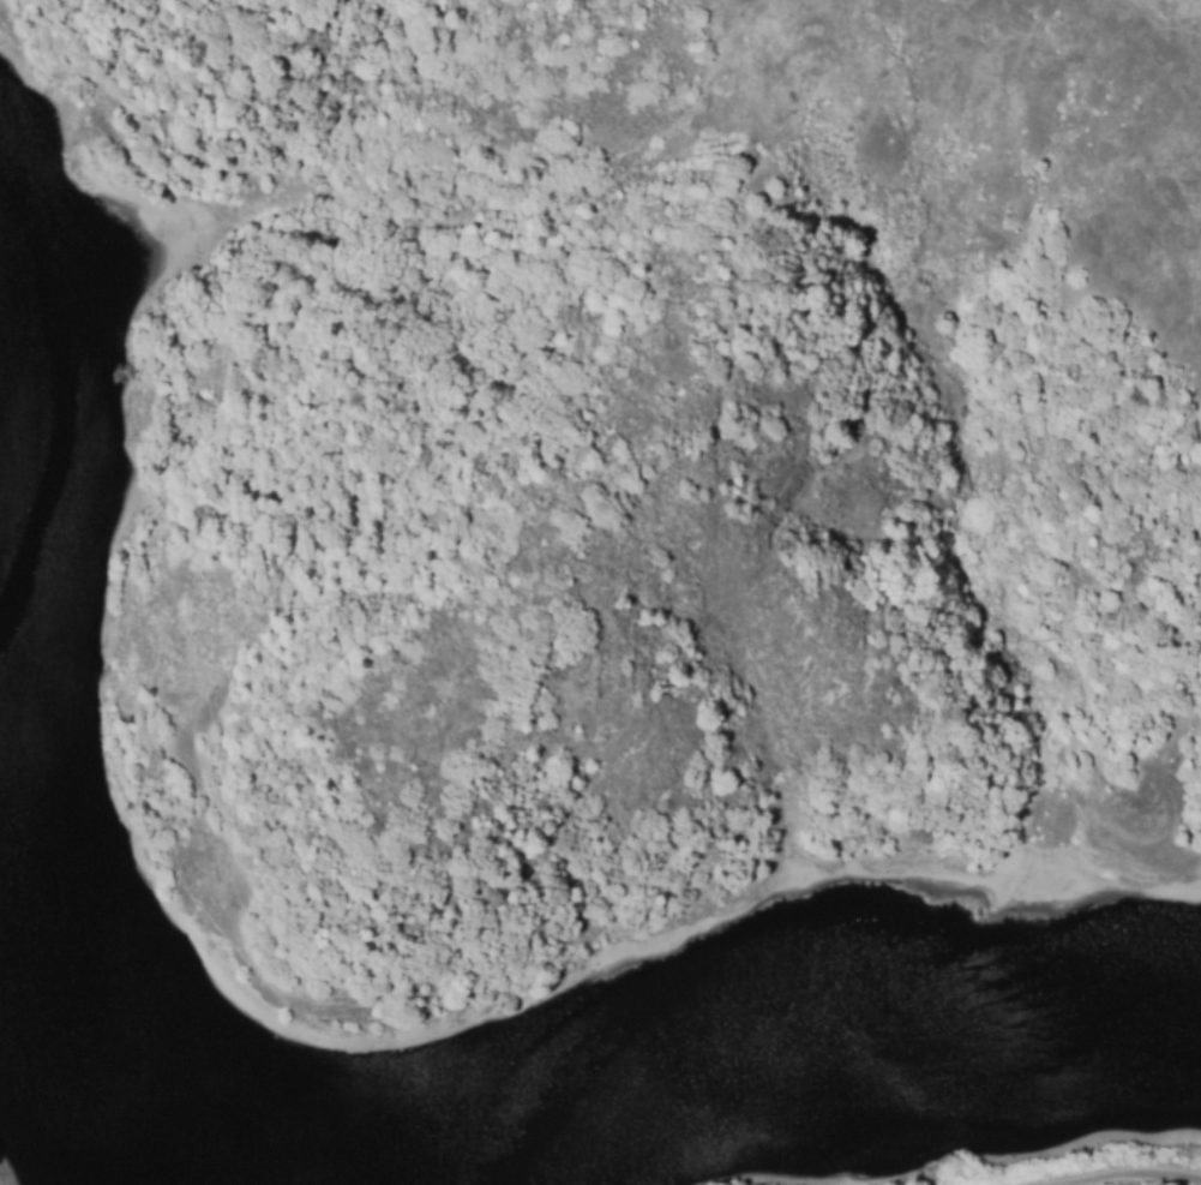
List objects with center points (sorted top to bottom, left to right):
road: (1146, 1179)

